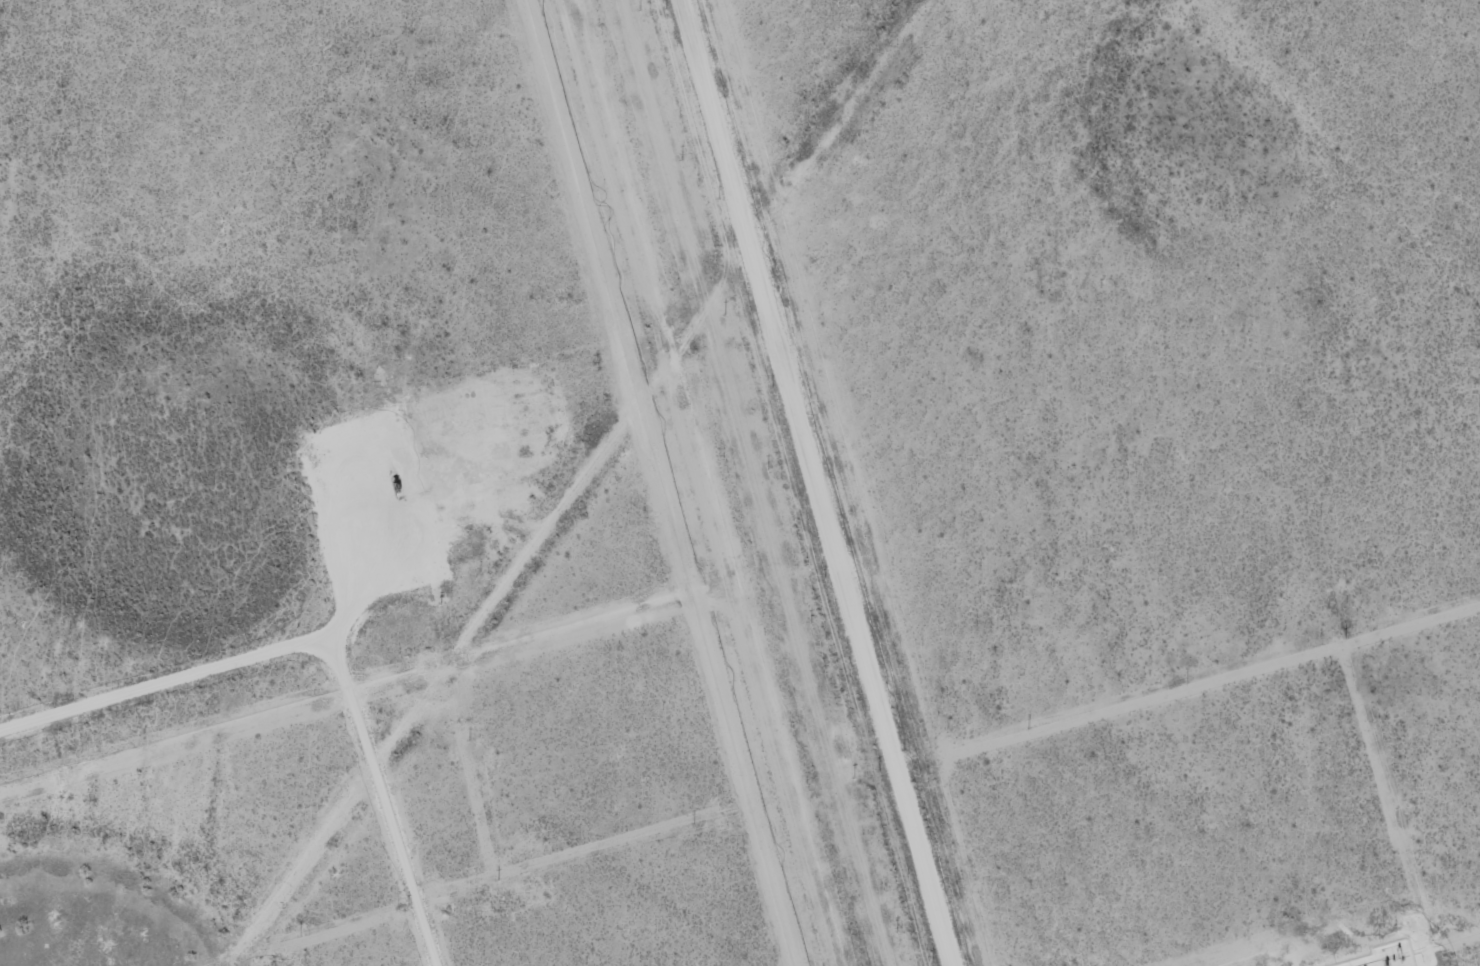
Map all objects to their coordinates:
road: (810, 483)

